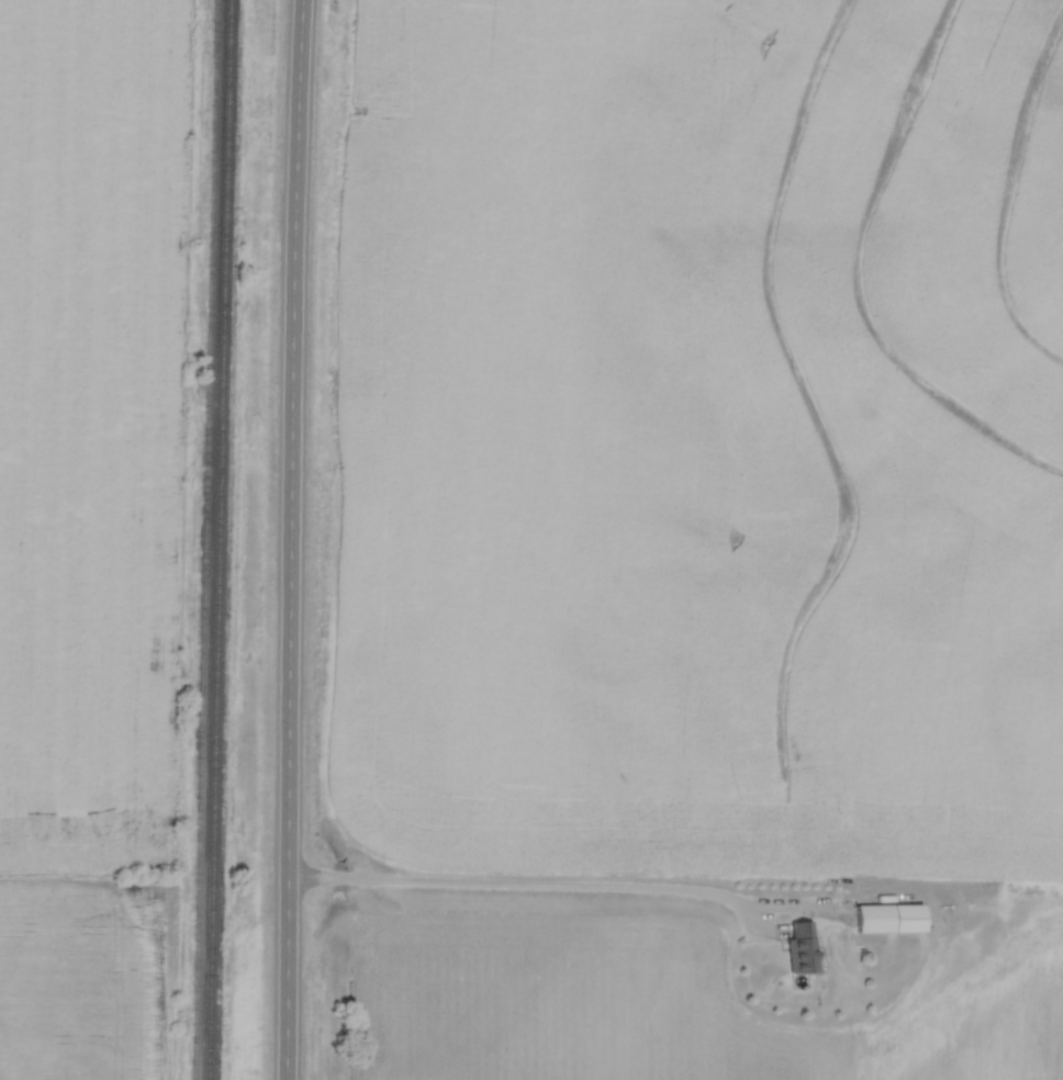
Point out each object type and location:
crop: (88, 427)
road: (288, 539)
railway: (200, 540)
railway: (213, 540)
road: (531, 886)
building: (887, 916)
building: (802, 947)

